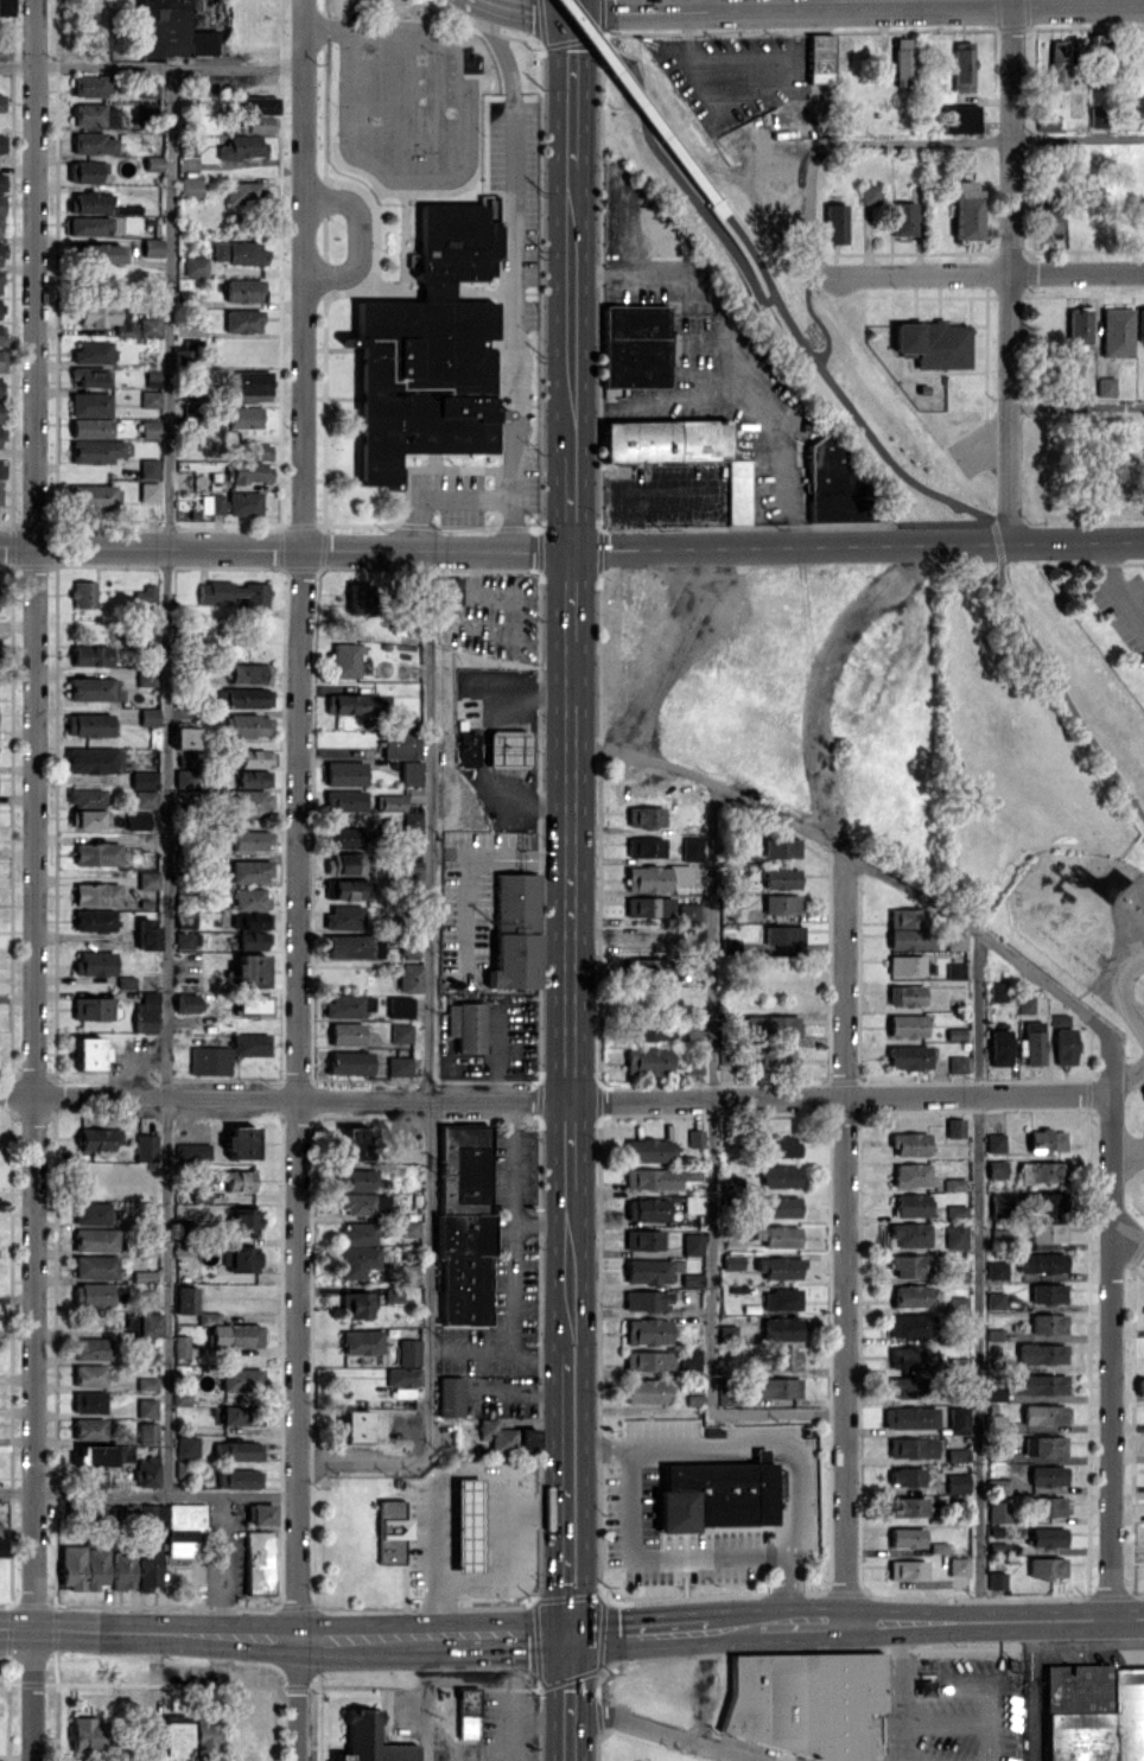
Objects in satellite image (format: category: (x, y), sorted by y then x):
road: (865, 4)
road: (707, 5)
road: (540, 6)
building: (5, 7)
road: (857, 8)
traffic signals: (571, 9)
road: (361, 28)
building: (170, 31)
road: (496, 43)
building: (902, 57)
building: (819, 58)
building: (1057, 64)
building: (962, 65)
road: (151, 66)
building: (90, 84)
building: (1, 101)
building: (258, 103)
road: (641, 108)
building: (94, 114)
building: (1097, 116)
building: (959, 119)
building: (1046, 121)
building: (259, 123)
road: (570, 138)
road: (993, 141)
building: (1, 142)
building: (93, 142)
building: (241, 146)
building: (85, 171)
building: (1, 183)
building: (189, 187)
building: (241, 192)
building: (867, 192)
building: (88, 202)
building: (1, 204)
road: (809, 208)
building: (965, 209)
building: (902, 217)
building: (0, 222)
building: (834, 222)
building: (1048, 224)
building: (89, 225)
road: (357, 237)
road: (622, 237)
building: (152, 247)
building: (1, 249)
building: (97, 253)
building: (237, 253)
building: (195, 266)
road: (1009, 271)
road: (990, 274)
road: (596, 275)
building: (0, 280)
building: (243, 290)
building: (104, 316)
road: (507, 318)
building: (242, 320)
building: (1139, 324)
building: (148, 325)
building: (1078, 325)
building: (1116, 331)
building: (1, 333)
building: (933, 343)
building: (634, 345)
building: (427, 350)
building: (93, 351)
building: (1, 360)
road: (746, 374)
building: (87, 377)
building: (151, 377)
building: (246, 382)
building: (0, 383)
building: (1106, 386)
building: (150, 399)
building: (89, 403)
road: (1076, 407)
building: (0, 412)
road: (570, 412)
building: (243, 417)
building: (90, 427)
building: (150, 428)
building: (0, 437)
building: (665, 440)
building: (252, 450)
building: (94, 451)
building: (1, 466)
building: (147, 468)
building: (249, 471)
building: (630, 478)
building: (830, 479)
building: (737, 490)
building: (148, 492)
road: (436, 494)
building: (94, 495)
road: (958, 501)
building: (211, 503)
building: (243, 503)
road: (856, 545)
road: (284, 547)
road: (1116, 586)
building: (449, 590)
building: (82, 593)
building: (214, 597)
building: (360, 598)
building: (90, 655)
building: (344, 659)
building: (246, 673)
building: (146, 676)
road: (816, 679)
building: (93, 688)
building: (243, 697)
building: (348, 704)
building: (147, 716)
building: (88, 725)
building: (244, 725)
building: (183, 737)
building: (400, 744)
building: (466, 748)
building: (507, 748)
building: (254, 757)
building: (93, 759)
building: (184, 759)
building: (343, 773)
building: (411, 773)
building: (184, 777)
building: (253, 778)
building: (144, 780)
road: (167, 780)
building: (84, 795)
building: (144, 799)
building: (343, 800)
building: (388, 802)
building: (249, 803)
building: (643, 816)
road: (298, 818)
building: (88, 819)
building: (136, 820)
building: (411, 820)
building: (343, 837)
building: (250, 840)
building: (643, 846)
building: (689, 847)
building: (780, 847)
building: (96, 853)
road: (856, 857)
building: (344, 863)
building: (409, 865)
road: (464, 869)
building: (249, 871)
building: (655, 877)
building: (780, 878)
building: (146, 879)
road: (34, 880)
building: (349, 889)
building: (95, 894)
building: (249, 898)
building: (780, 903)
building: (648, 905)
building: (688, 911)
building: (344, 916)
building: (904, 917)
building: (93, 920)
building: (185, 920)
building: (249, 920)
building: (514, 930)
building: (146, 934)
building: (781, 936)
building: (909, 939)
building: (186, 940)
building: (252, 941)
building: (955, 941)
building: (352, 946)
road: (568, 948)
building: (94, 962)
building: (904, 965)
building: (648, 968)
building: (248, 969)
building: (954, 971)
building: (408, 977)
building: (123, 981)
road: (427, 991)
building: (997, 991)
road: (1123, 993)
building: (904, 994)
building: (185, 1003)
building: (1024, 1004)
building: (252, 1005)
building: (347, 1005)
building: (399, 1006)
building: (91, 1007)
building: (145, 1012)
building: (1059, 1019)
building: (770, 1024)
building: (464, 1025)
building: (905, 1025)
building: (689, 1028)
building: (652, 1030)
building: (400, 1032)
building: (345, 1034)
building: (1032, 1042)
building: (249, 1044)
building: (1063, 1045)
building: (998, 1047)
building: (88, 1053)
building: (908, 1056)
building: (775, 1057)
building: (209, 1060)
building: (646, 1060)
building: (349, 1062)
building: (692, 1063)
building: (955, 1063)
building: (398, 1066)
road: (1126, 1077)
road: (554, 1100)
building: (953, 1127)
building: (97, 1138)
building: (693, 1138)
building: (1046, 1139)
building: (240, 1142)
building: (993, 1142)
building: (354, 1143)
building: (909, 1144)
building: (777, 1145)
building: (145, 1146)
building: (647, 1150)
building: (192, 1151)
road: (1127, 1161)
building: (463, 1164)
road: (710, 1165)
building: (996, 1169)
building: (1040, 1171)
building: (688, 1174)
building: (909, 1175)
building: (780, 1176)
building: (650, 1177)
building: (235, 1180)
building: (355, 1180)
building: (953, 1183)
building: (201, 1191)
building: (1040, 1201)
building: (355, 1203)
building: (379, 1203)
building: (910, 1204)
building: (780, 1206)
building: (646, 1209)
building: (955, 1210)
building: (90, 1213)
building: (243, 1221)
road: (539, 1223)
building: (408, 1227)
road: (510, 1227)
building: (1047, 1232)
building: (356, 1233)
road: (1127, 1233)
building: (908, 1234)
building: (732, 1235)
building: (775, 1235)
building: (955, 1235)
road: (844, 1236)
building: (94, 1239)
building: (642, 1239)
building: (691, 1244)
building: (237, 1258)
building: (356, 1260)
building: (729, 1261)
building: (1040, 1263)
building: (908, 1265)
building: (94, 1266)
building: (462, 1266)
building: (777, 1266)
building: (996, 1270)
building: (646, 1271)
building: (406, 1273)
road: (978, 1276)
building: (689, 1278)
building: (1047, 1292)
building: (90, 1293)
building: (390, 1295)
building: (909, 1296)
building: (146, 1297)
building: (780, 1298)
building: (185, 1299)
building: (646, 1299)
building: (993, 1301)
building: (954, 1303)
building: (352, 1305)
building: (1047, 1323)
building: (147, 1324)
building: (908, 1324)
road: (1111, 1327)
building: (780, 1328)
building: (646, 1331)
building: (992, 1334)
building: (234, 1335)
building: (360, 1341)
building: (179, 1346)
building: (90, 1348)
building: (408, 1349)
building: (1040, 1353)
road: (497, 1354)
building: (909, 1356)
building: (786, 1358)
building: (689, 1359)
building: (647, 1360)
building: (956, 1363)
building: (88, 1374)
building: (240, 1379)
building: (401, 1380)
building: (145, 1384)
building: (1037, 1384)
building: (904, 1386)
building: (775, 1387)
building: (644, 1391)
building: (992, 1392)
building: (449, 1396)
building: (180, 1397)
building: (88, 1401)
building: (145, 1407)
building: (1043, 1413)
building: (240, 1414)
building: (908, 1417)
building: (956, 1419)
building: (355, 1425)
building: (88, 1426)
building: (145, 1432)
building: (495, 1435)
building: (526, 1437)
road: (765, 1441)
building: (185, 1445)
building: (1043, 1445)
building: (910, 1447)
building: (236, 1450)
building: (102, 1454)
road: (368, 1461)
road: (476, 1470)
building: (145, 1471)
building: (1046, 1475)
building: (904, 1476)
building: (241, 1477)
building: (955, 1482)
building: (997, 1485)
road: (568, 1489)
road: (147, 1493)
building: (713, 1495)
building: (905, 1506)
building: (1048, 1506)
road: (536, 1511)
building: (997, 1511)
building: (148, 1512)
building: (259, 1514)
building: (183, 1515)
building: (465, 1525)
building: (390, 1532)
building: (904, 1537)
building: (1046, 1537)
building: (179, 1545)
building: (1, 1546)
building: (258, 1560)
road: (650, 1560)
road: (222, 1564)
building: (956, 1565)
building: (70, 1566)
building: (94, 1568)
building: (1046, 1568)
building: (146, 1569)
building: (905, 1569)
building: (121, 1570)
building: (996, 1579)
road: (1018, 1619)
road: (870, 1621)
road: (802, 1623)
road: (733, 1627)
road: (638, 1630)
road: (147, 1632)
traffic signals: (570, 1634)
road: (491, 1635)
road: (354, 1636)
road: (895, 1655)
road: (940, 1689)
road: (154, 1697)
road: (570, 1697)
road: (295, 1698)
road: (427, 1699)
building: (805, 1700)
building: (466, 1712)
building: (1094, 1712)
road: (897, 1721)
road: (986, 1725)
road: (670, 1731)
building: (85, 1734)
building: (203, 1735)
building: (369, 1740)
building: (172, 1741)
road: (891, 1755)
road: (898, 1756)
building: (1, 1760)

